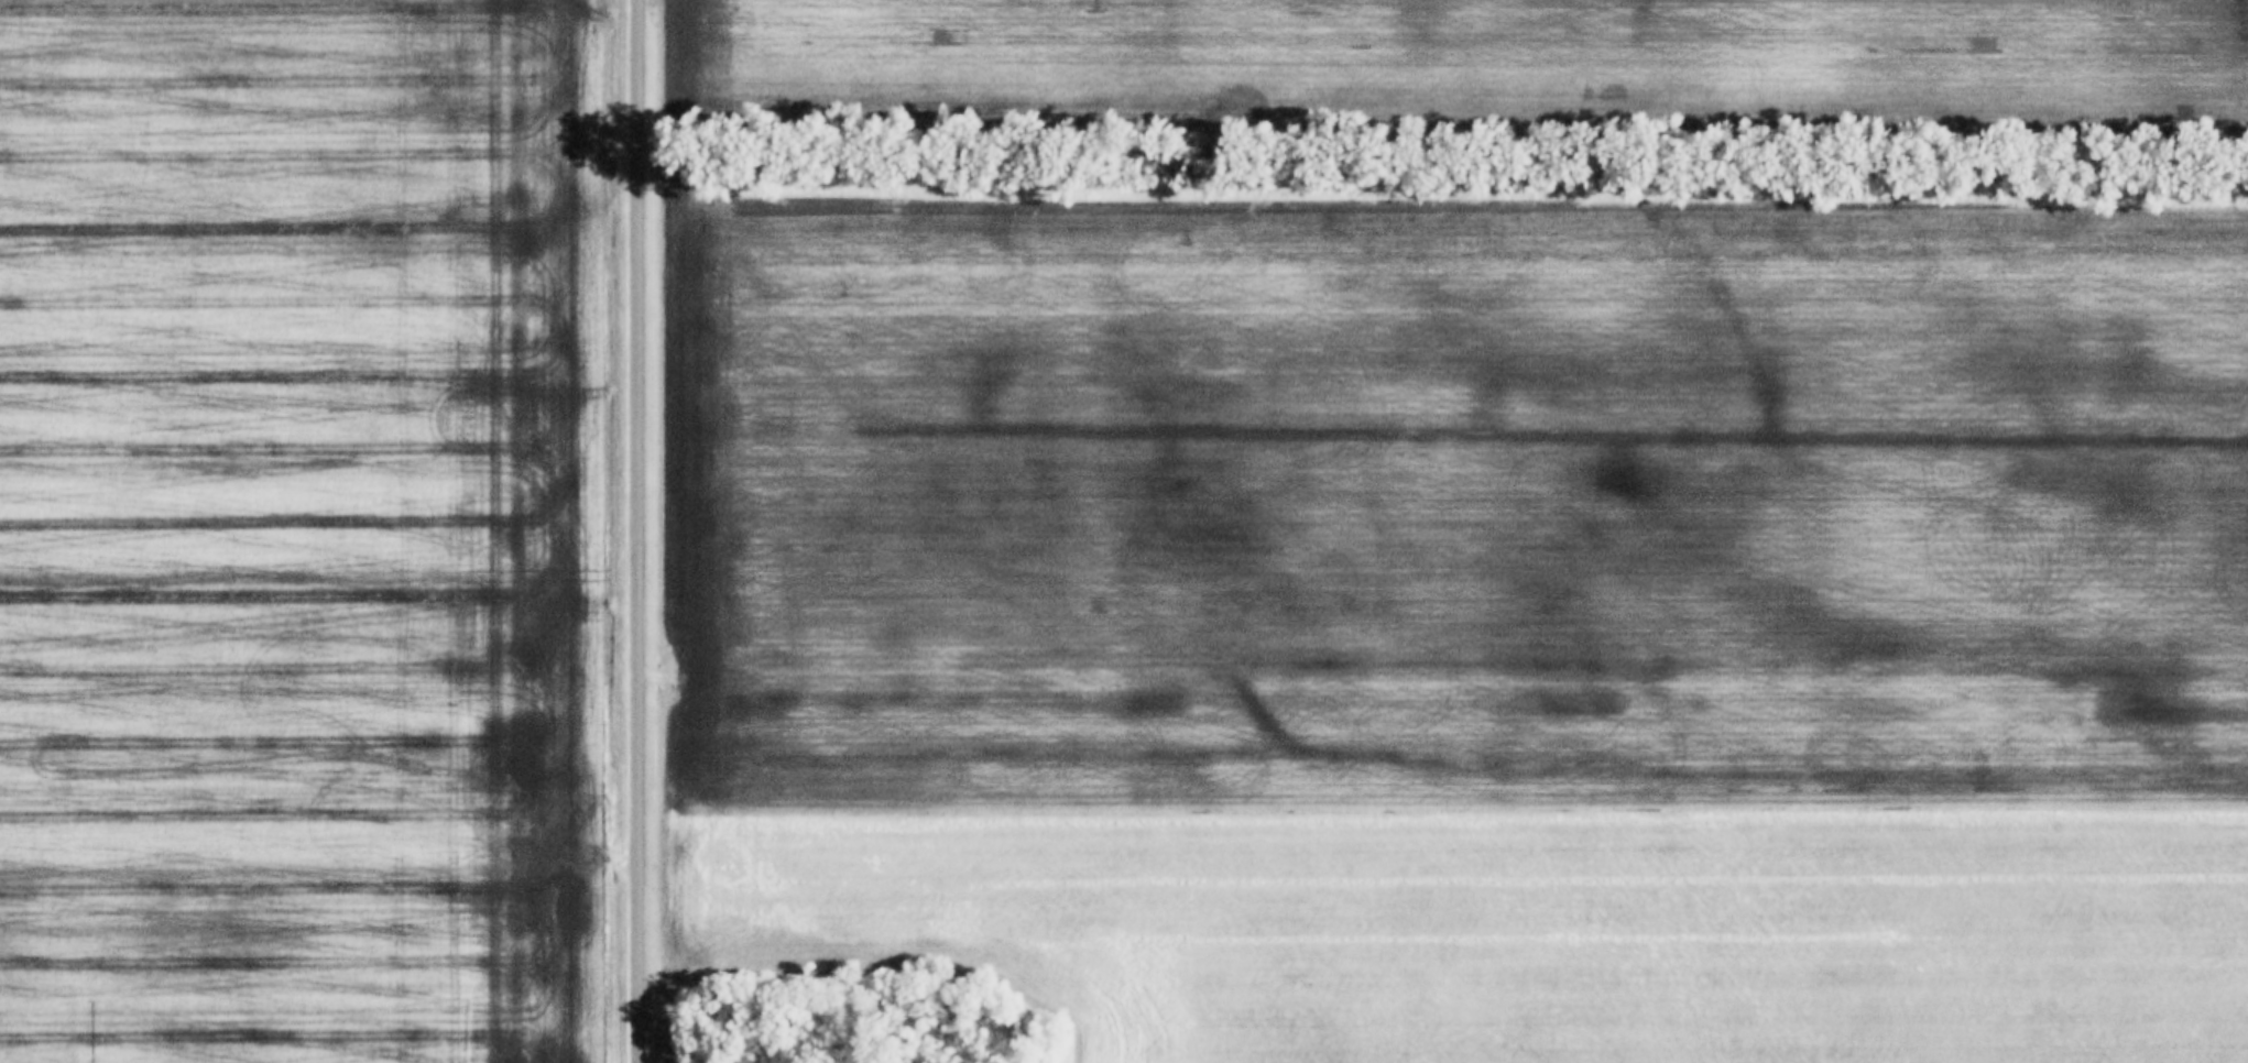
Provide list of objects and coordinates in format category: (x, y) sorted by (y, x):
road: (641, 530)

